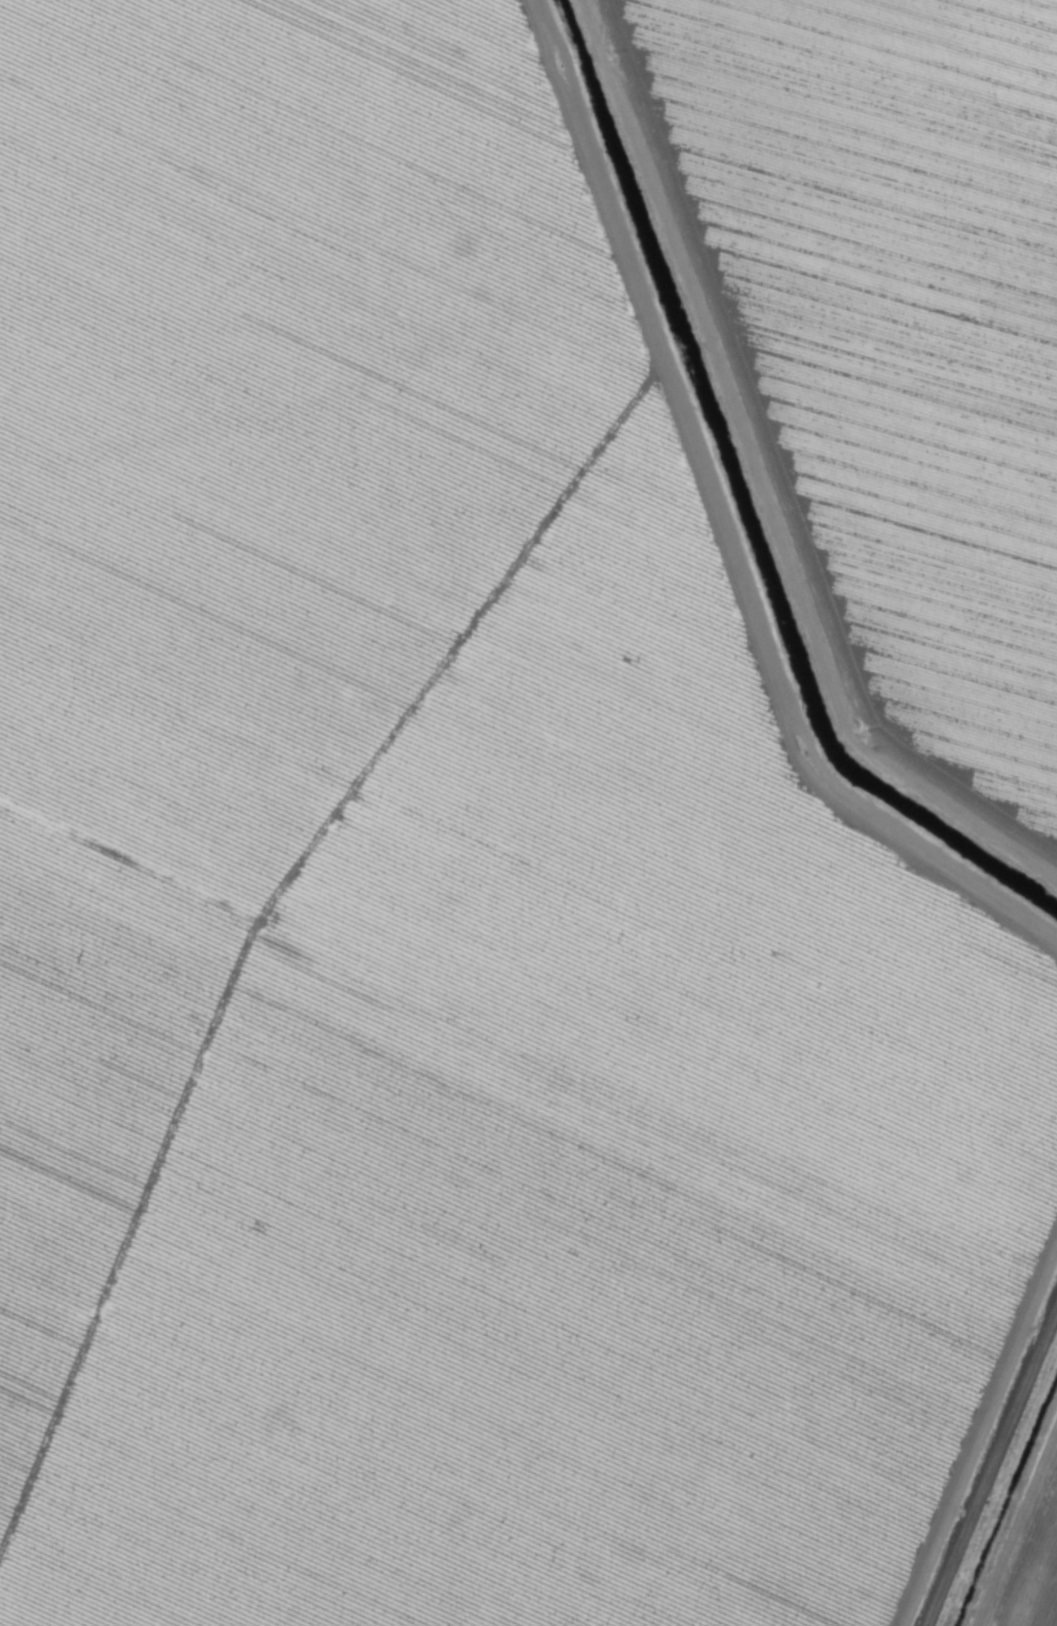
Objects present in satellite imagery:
crop: (528, 813)
road: (994, 1474)

